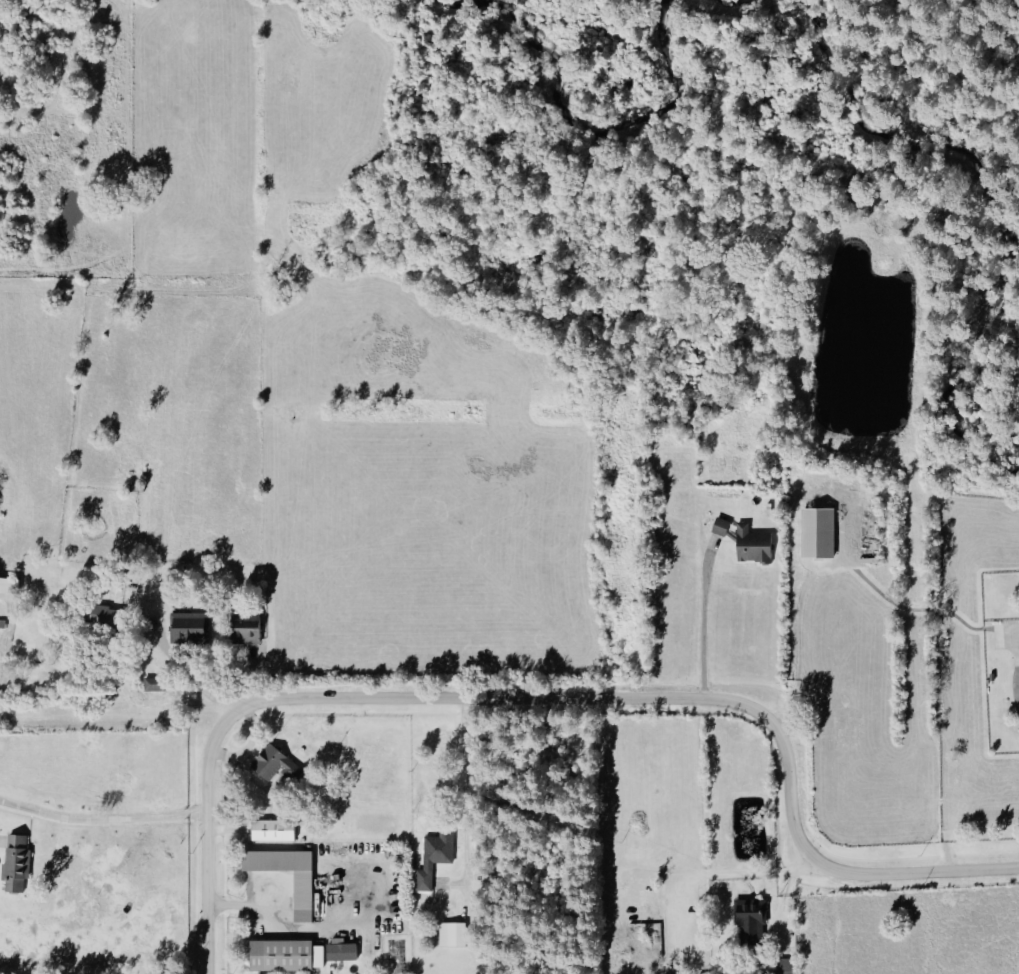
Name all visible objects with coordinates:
river: (732, 0)
river: (592, 129)
river: (999, 208)
building: (720, 526)
building: (818, 532)
building: (753, 544)
building: (8, 585)
building: (102, 614)
building: (189, 626)
building: (246, 626)
road: (709, 626)
road: (192, 678)
building: (153, 684)
road: (1018, 690)
road: (548, 696)
building: (272, 762)
road: (465, 788)
road: (106, 820)
building: (273, 830)
building: (435, 858)
building: (17, 859)
road: (724, 874)
building: (303, 896)
building: (750, 921)
road: (294, 928)
building: (452, 934)
building: (341, 947)
building: (285, 955)
building: (786, 966)

